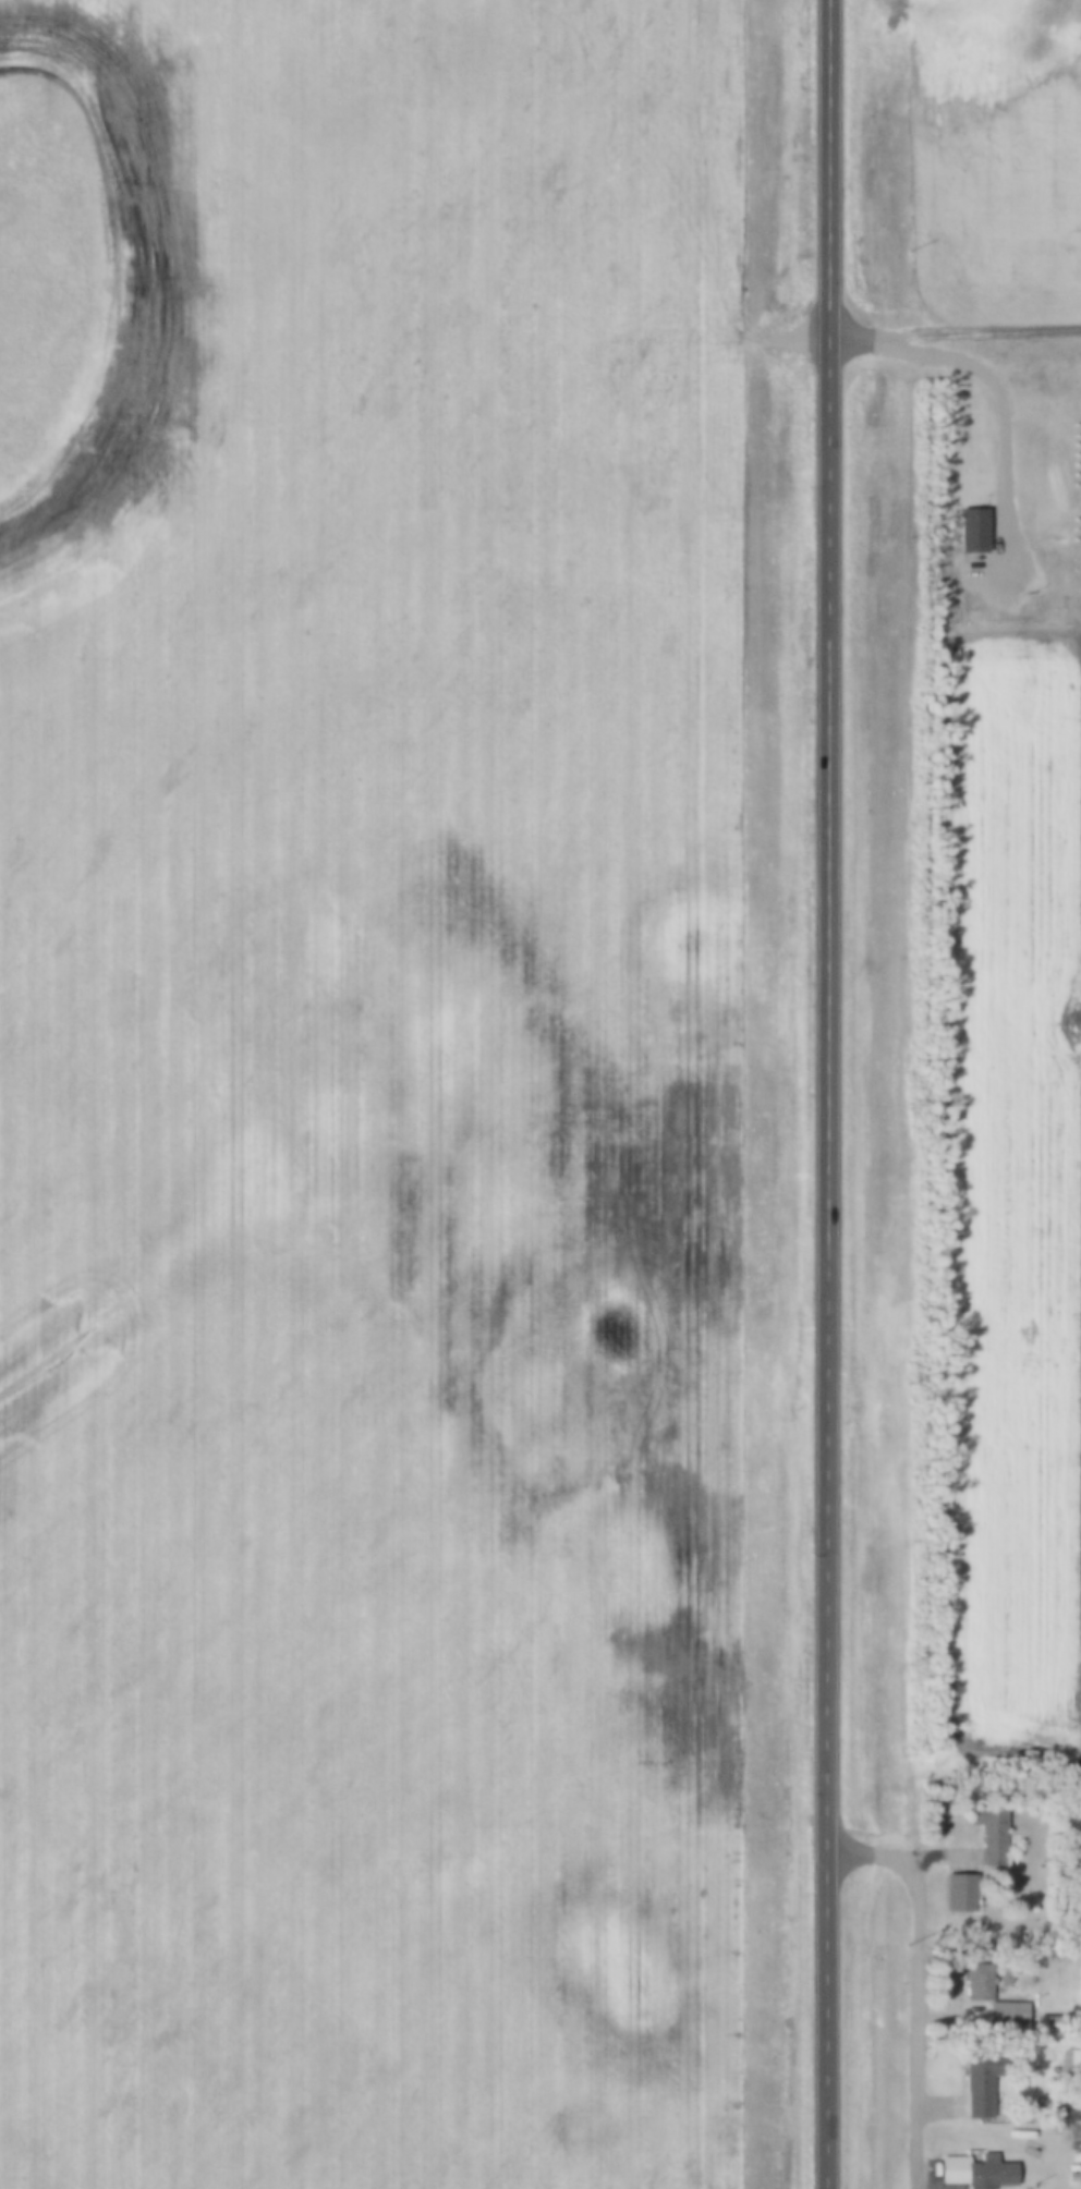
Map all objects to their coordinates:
road: (824, 1094)
building: (991, 1833)
building: (960, 1894)
building: (979, 1983)
road: (918, 1984)
building: (981, 2084)
building: (979, 2172)

